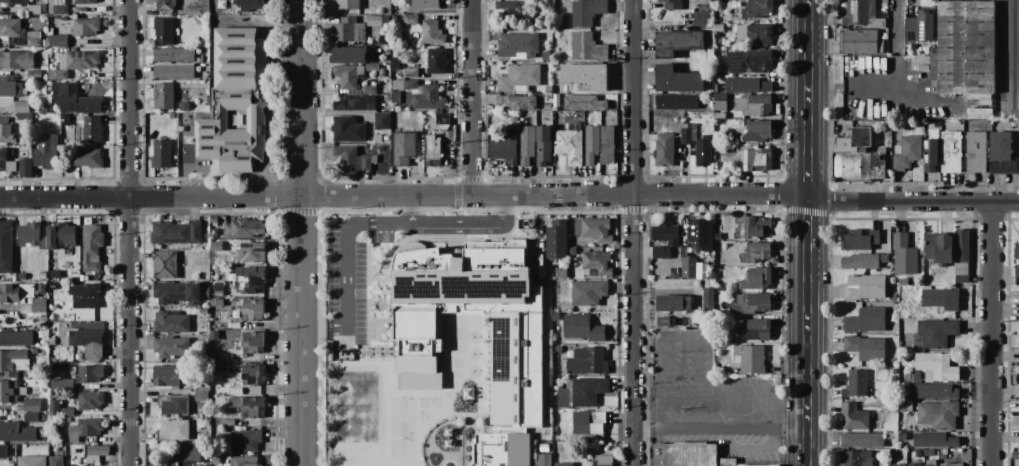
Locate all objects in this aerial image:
building: (13, 2)
building: (83, 2)
building: (393, 2)
building: (347, 4)
building: (426, 4)
building: (672, 4)
building: (165, 5)
building: (249, 5)
building: (508, 7)
building: (57, 8)
building: (757, 9)
building: (33, 10)
building: (587, 11)
building: (193, 12)
building: (859, 12)
building: (410, 20)
building: (703, 20)
building: (384, 21)
building: (85, 27)
road: (896, 27)
building: (920, 28)
building: (163, 31)
building: (19, 33)
building: (348, 33)
building: (431, 33)
building: (760, 36)
building: (58, 41)
building: (859, 42)
building: (677, 43)
building: (518, 46)
building: (587, 48)
building: (965, 50)
building: (173, 55)
building: (348, 55)
road: (1017, 55)
building: (17, 60)
building: (81, 60)
building: (199, 60)
building: (436, 61)
building: (746, 63)
building: (174, 71)
building: (381, 73)
building: (410, 73)
building: (34, 75)
building: (61, 75)
building: (347, 75)
building: (586, 75)
building: (518, 79)
building: (677, 80)
building: (747, 85)
road: (852, 87)
building: (10, 89)
building: (369, 90)
building: (548, 90)
building: (421, 94)
building: (163, 96)
road: (471, 97)
building: (76, 100)
building: (236, 101)
building: (720, 101)
building: (676, 102)
building: (984, 102)
building: (354, 103)
building: (516, 103)
building: (582, 103)
building: (753, 106)
building: (22, 107)
building: (184, 107)
building: (547, 107)
building: (979, 113)
building: (513, 117)
building: (25, 118)
building: (442, 119)
building: (382, 121)
building: (930, 128)
building: (92, 130)
building: (347, 130)
building: (6, 132)
building: (756, 132)
building: (377, 138)
building: (854, 142)
building: (569, 144)
building: (591, 144)
building: (697, 144)
building: (527, 145)
building: (607, 145)
building: (543, 146)
building: (403, 149)
building: (664, 150)
building: (432, 151)
building: (504, 151)
building: (950, 152)
building: (974, 152)
building: (906, 153)
building: (1000, 153)
building: (161, 154)
building: (930, 155)
building: (45, 156)
building: (87, 158)
building: (3, 160)
building: (351, 160)
building: (757, 160)
building: (857, 167)
building: (25, 168)
road: (510, 194)
road: (410, 208)
building: (213, 220)
road: (365, 221)
building: (757, 228)
building: (243, 229)
building: (593, 229)
building: (176, 232)
road: (633, 232)
building: (661, 232)
road: (806, 232)
road: (128, 233)
road: (299, 233)
building: (29, 235)
building: (65, 235)
building: (560, 237)
building: (51, 238)
building: (860, 241)
building: (43, 243)
building: (695, 245)
building: (6, 247)
building: (91, 247)
building: (216, 247)
building: (938, 248)
building: (572, 251)
building: (1016, 252)
building: (251, 253)
building: (660, 253)
building: (756, 253)
building: (903, 254)
building: (961, 256)
building: (864, 261)
building: (596, 262)
building: (164, 265)
building: (1016, 271)
building: (55, 275)
building: (42, 276)
building: (706, 276)
building: (22, 277)
building: (249, 279)
building: (756, 280)
building: (903, 282)
building: (218, 286)
building: (864, 287)
building: (42, 288)
building: (176, 292)
building: (16, 293)
building: (206, 293)
building: (219, 293)
building: (586, 293)
building: (85, 296)
building: (707, 298)
building: (940, 298)
building: (673, 303)
building: (751, 303)
building: (37, 305)
building: (204, 311)
building: (253, 311)
building: (866, 321)
building: (663, 322)
building: (171, 323)
building: (233, 325)
building: (582, 328)
building: (760, 328)
building: (515, 332)
building: (936, 333)
road: (991, 334)
road: (681, 338)
building: (16, 339)
building: (253, 342)
building: (89, 343)
building: (171, 348)
building: (866, 349)
building: (750, 359)
building: (14, 362)
building: (587, 362)
building: (904, 363)
building: (222, 367)
building: (936, 367)
building: (894, 371)
building: (88, 374)
building: (254, 374)
building: (166, 376)
building: (893, 379)
building: (61, 384)
building: (856, 384)
building: (1018, 390)
building: (10, 391)
building: (235, 391)
building: (934, 392)
road: (717, 393)
building: (588, 394)
building: (902, 395)
building: (201, 396)
building: (89, 400)
building: (1018, 404)
building: (31, 405)
building: (174, 405)
building: (247, 406)
building: (905, 406)
building: (55, 409)
building: (67, 412)
building: (858, 414)
building: (939, 415)
building: (31, 417)
building: (66, 420)
building: (227, 423)
building: (589, 425)
road: (729, 428)
building: (85, 429)
building: (173, 430)
building: (17, 432)
building: (245, 440)
building: (862, 441)
building: (935, 441)
building: (501, 449)
road: (748, 449)
building: (2, 452)
building: (96, 453)
building: (689, 455)
building: (1015, 455)
building: (203, 457)
building: (855, 458)
building: (56, 460)
building: (215, 460)
building: (544, 460)
building: (603, 460)
building: (31, 461)
building: (244, 461)
building: (562, 464)
building: (914, 464)
building: (163, 465)
building: (898, 465)
building: (930, 465)
building: (951, 465)

